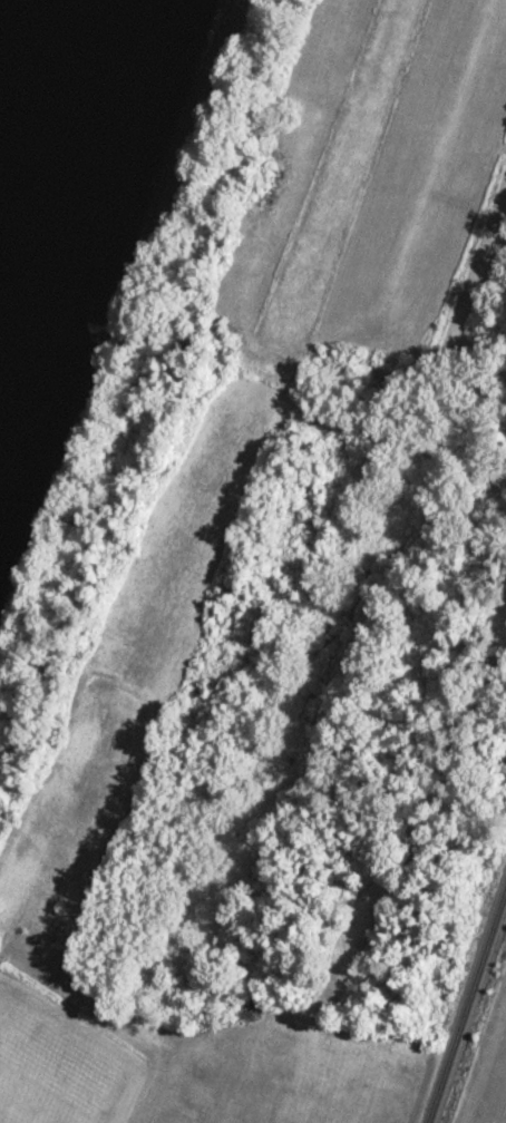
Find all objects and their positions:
airport runway: (340, 159)
railway: (465, 995)

